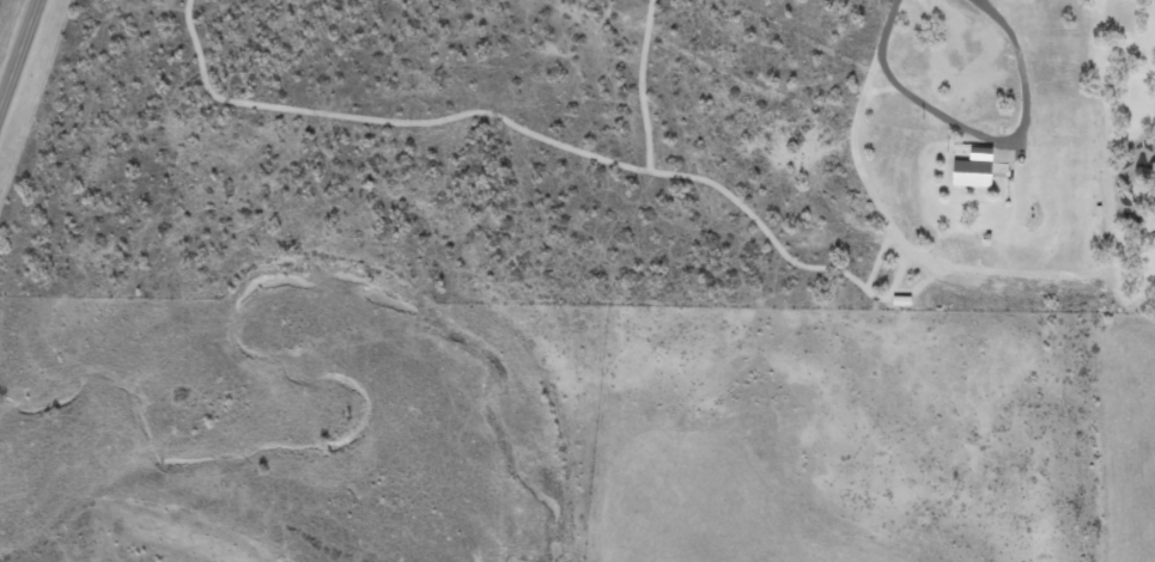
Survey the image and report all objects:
road: (19, 55)
building: (977, 172)

